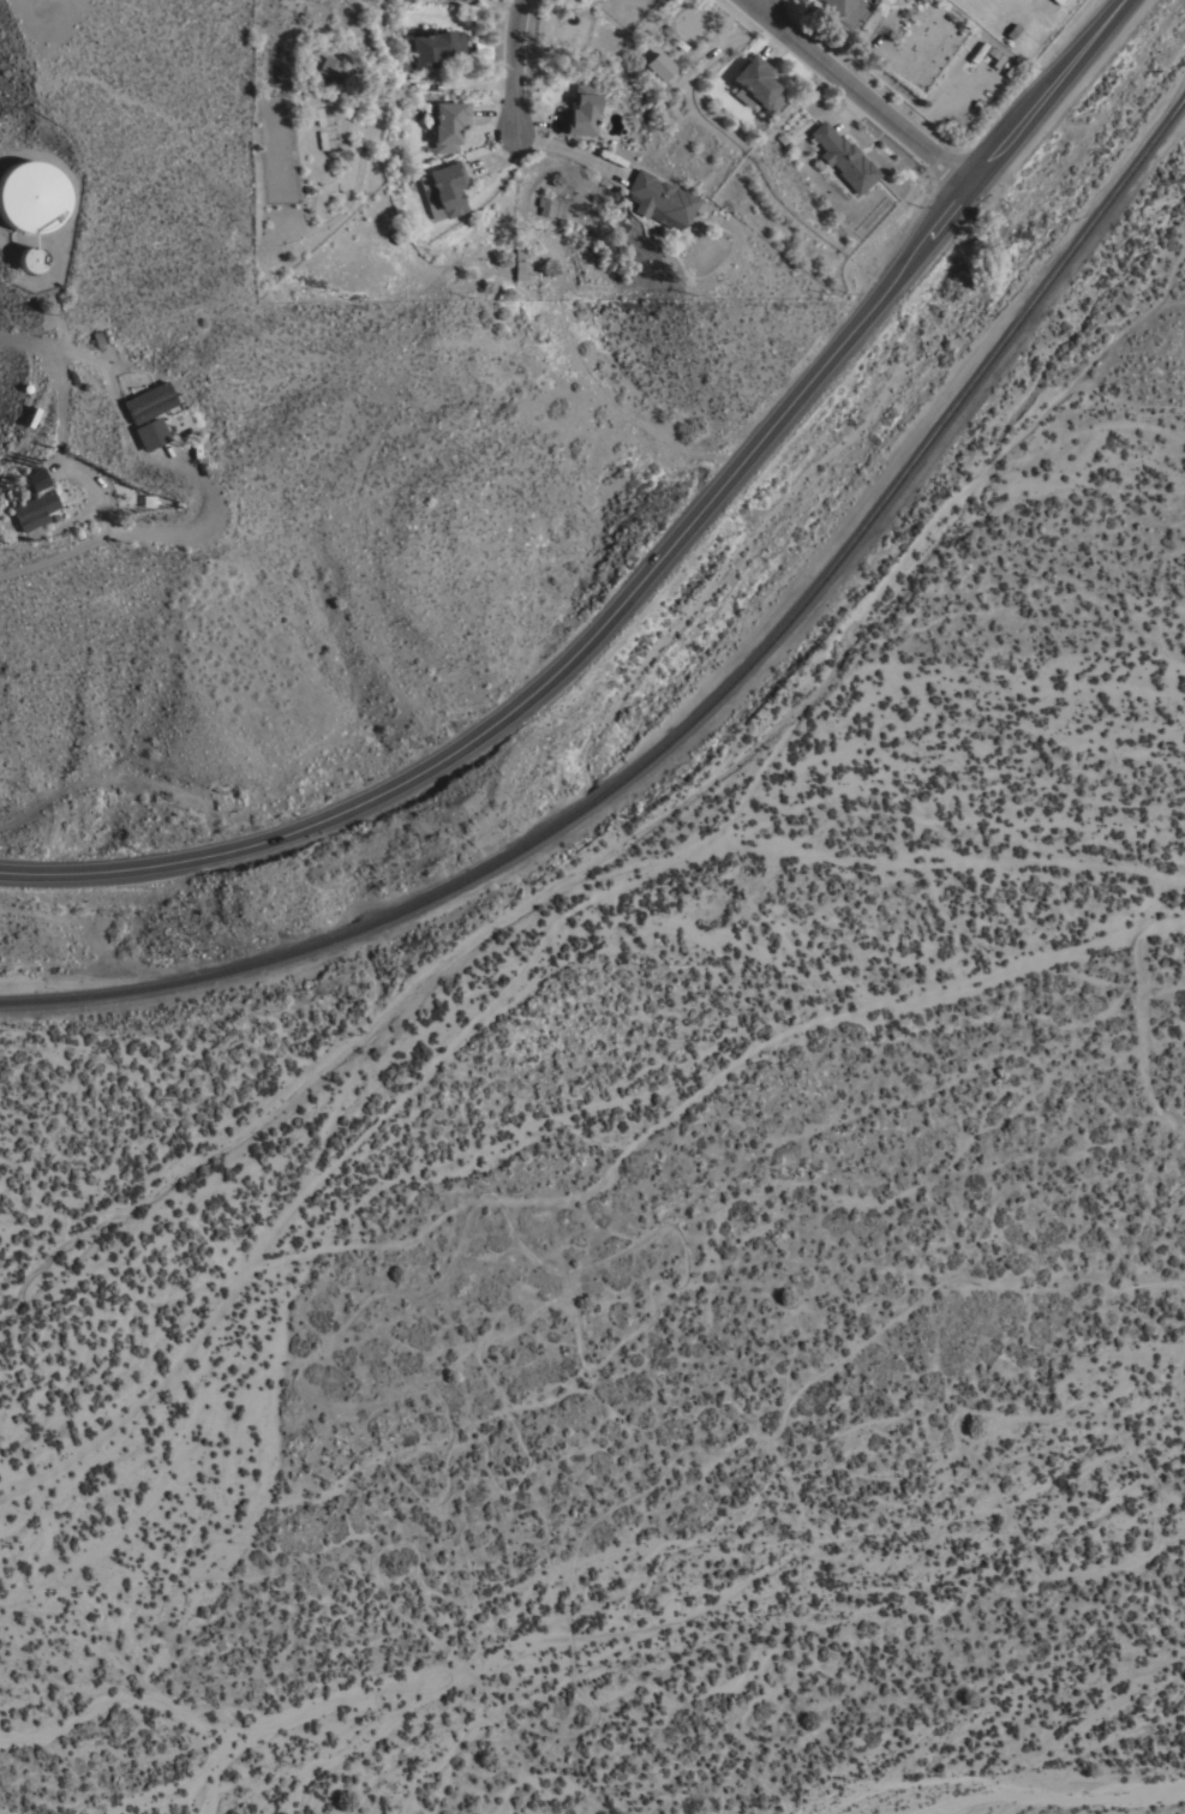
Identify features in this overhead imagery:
building: (921, 0)
building: (1057, 1)
road: (761, 5)
building: (837, 5)
road: (23, 23)
building: (435, 47)
building: (328, 66)
road: (514, 66)
building: (657, 66)
building: (758, 83)
road: (471, 84)
road: (856, 89)
building: (580, 110)
road: (493, 112)
road: (533, 121)
building: (448, 125)
road: (492, 150)
road: (569, 150)
building: (842, 157)
building: (444, 188)
building: (30, 196)
building: (659, 199)
building: (29, 258)
building: (520, 269)
railway: (1009, 340)
road: (71, 352)
road: (54, 381)
building: (149, 401)
building: (152, 432)
building: (36, 478)
building: (32, 509)
road: (172, 533)
road: (91, 534)
road: (647, 573)
railway: (462, 881)

